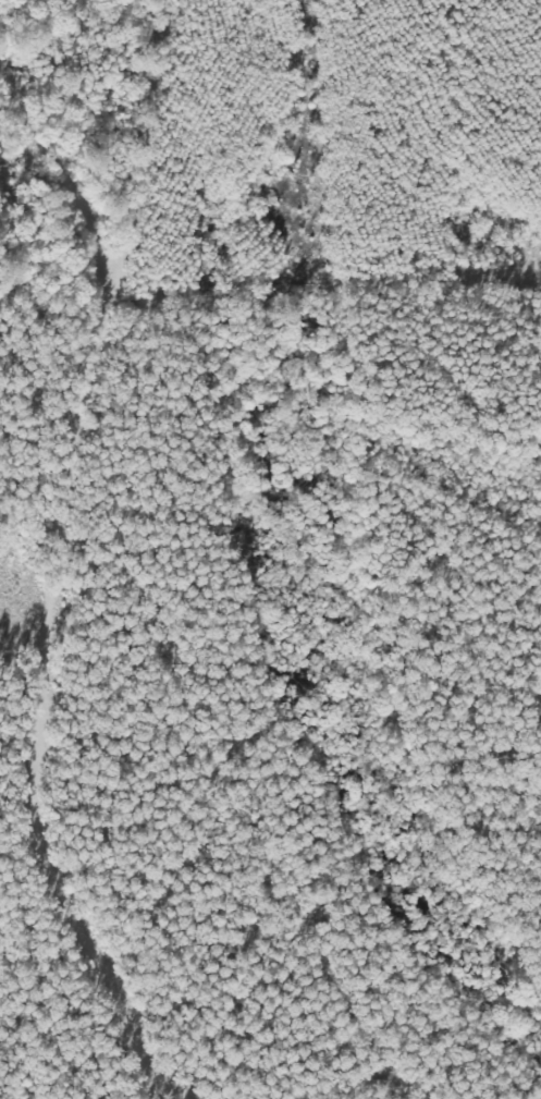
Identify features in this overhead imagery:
road: (84, 564)

